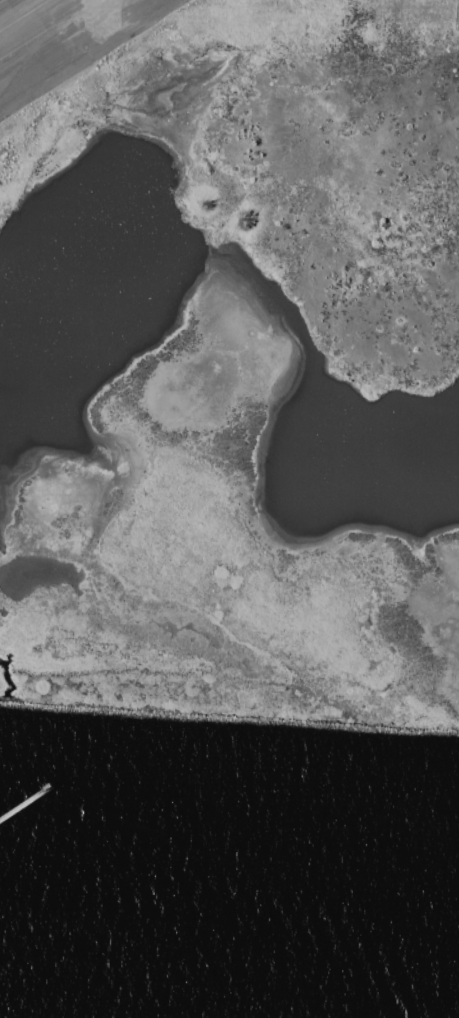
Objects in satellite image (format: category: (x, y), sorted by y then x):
road: (90, 58)
pier: (25, 805)

